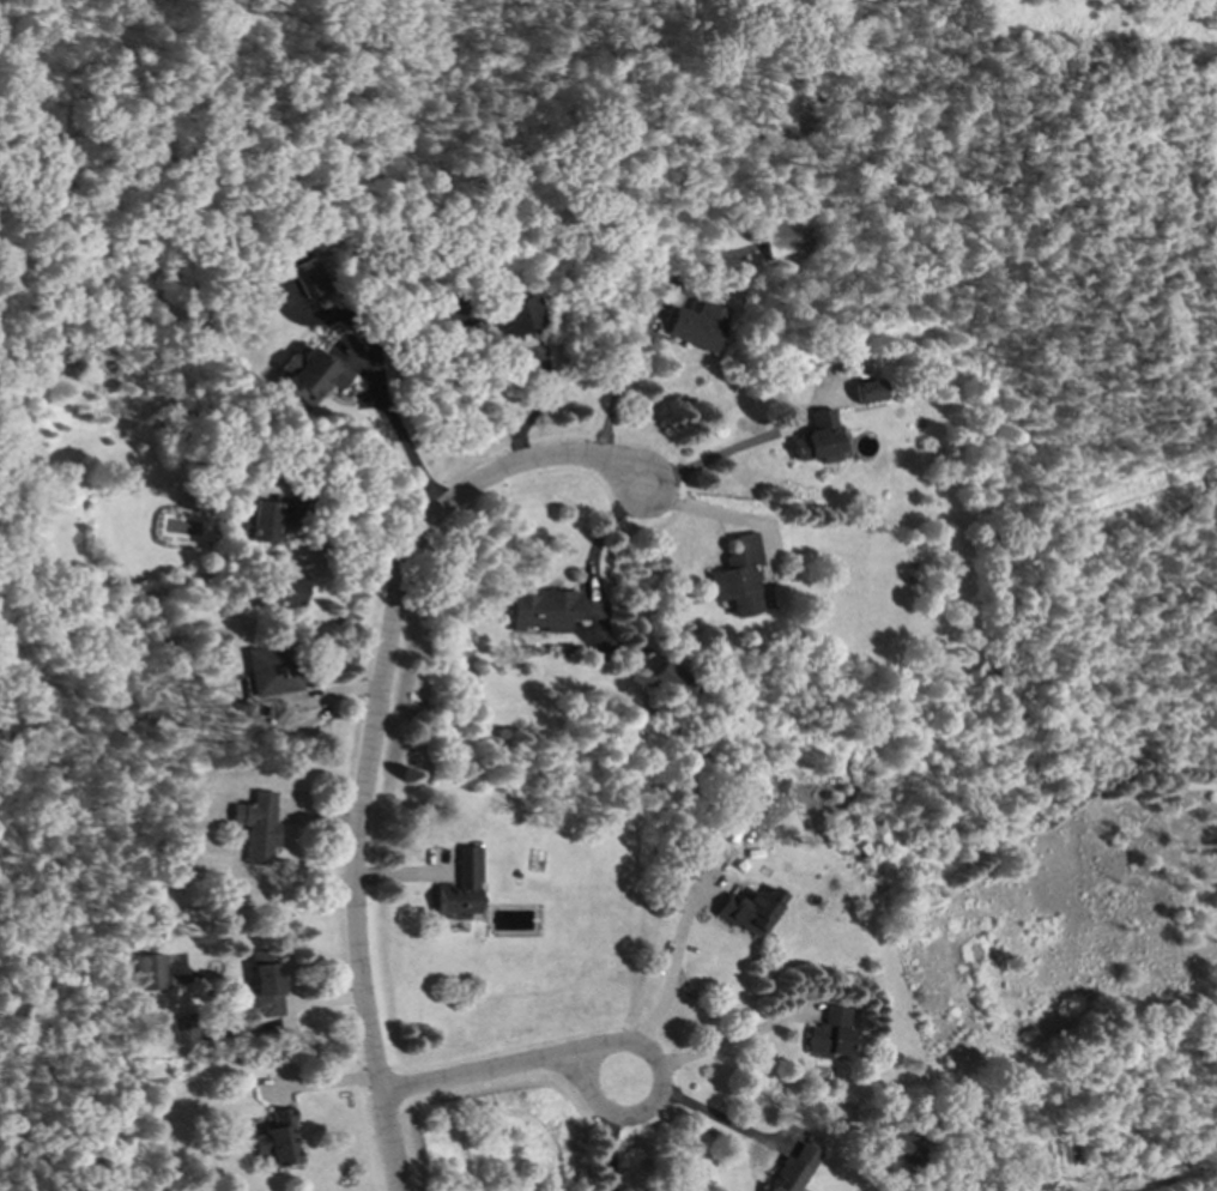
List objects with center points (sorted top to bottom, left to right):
quarry: (714, 11)
park: (1210, 123)
building: (783, 236)
building: (307, 279)
building: (513, 318)
building: (695, 326)
building: (309, 375)
building: (865, 392)
road: (611, 398)
road: (394, 428)
building: (815, 440)
road: (708, 459)
road: (704, 504)
building: (256, 524)
road: (305, 545)
road: (592, 552)
building: (733, 579)
building: (284, 590)
building: (540, 611)
building: (270, 671)
building: (672, 685)
road: (374, 733)
building: (258, 828)
building: (461, 888)
building: (750, 911)
road: (673, 959)
building: (152, 975)
building: (264, 985)
building: (184, 1030)
building: (830, 1034)
road: (718, 1042)
road: (644, 1048)
road: (485, 1074)
road: (701, 1111)
building: (281, 1139)
building: (902, 1149)
building: (792, 1171)

